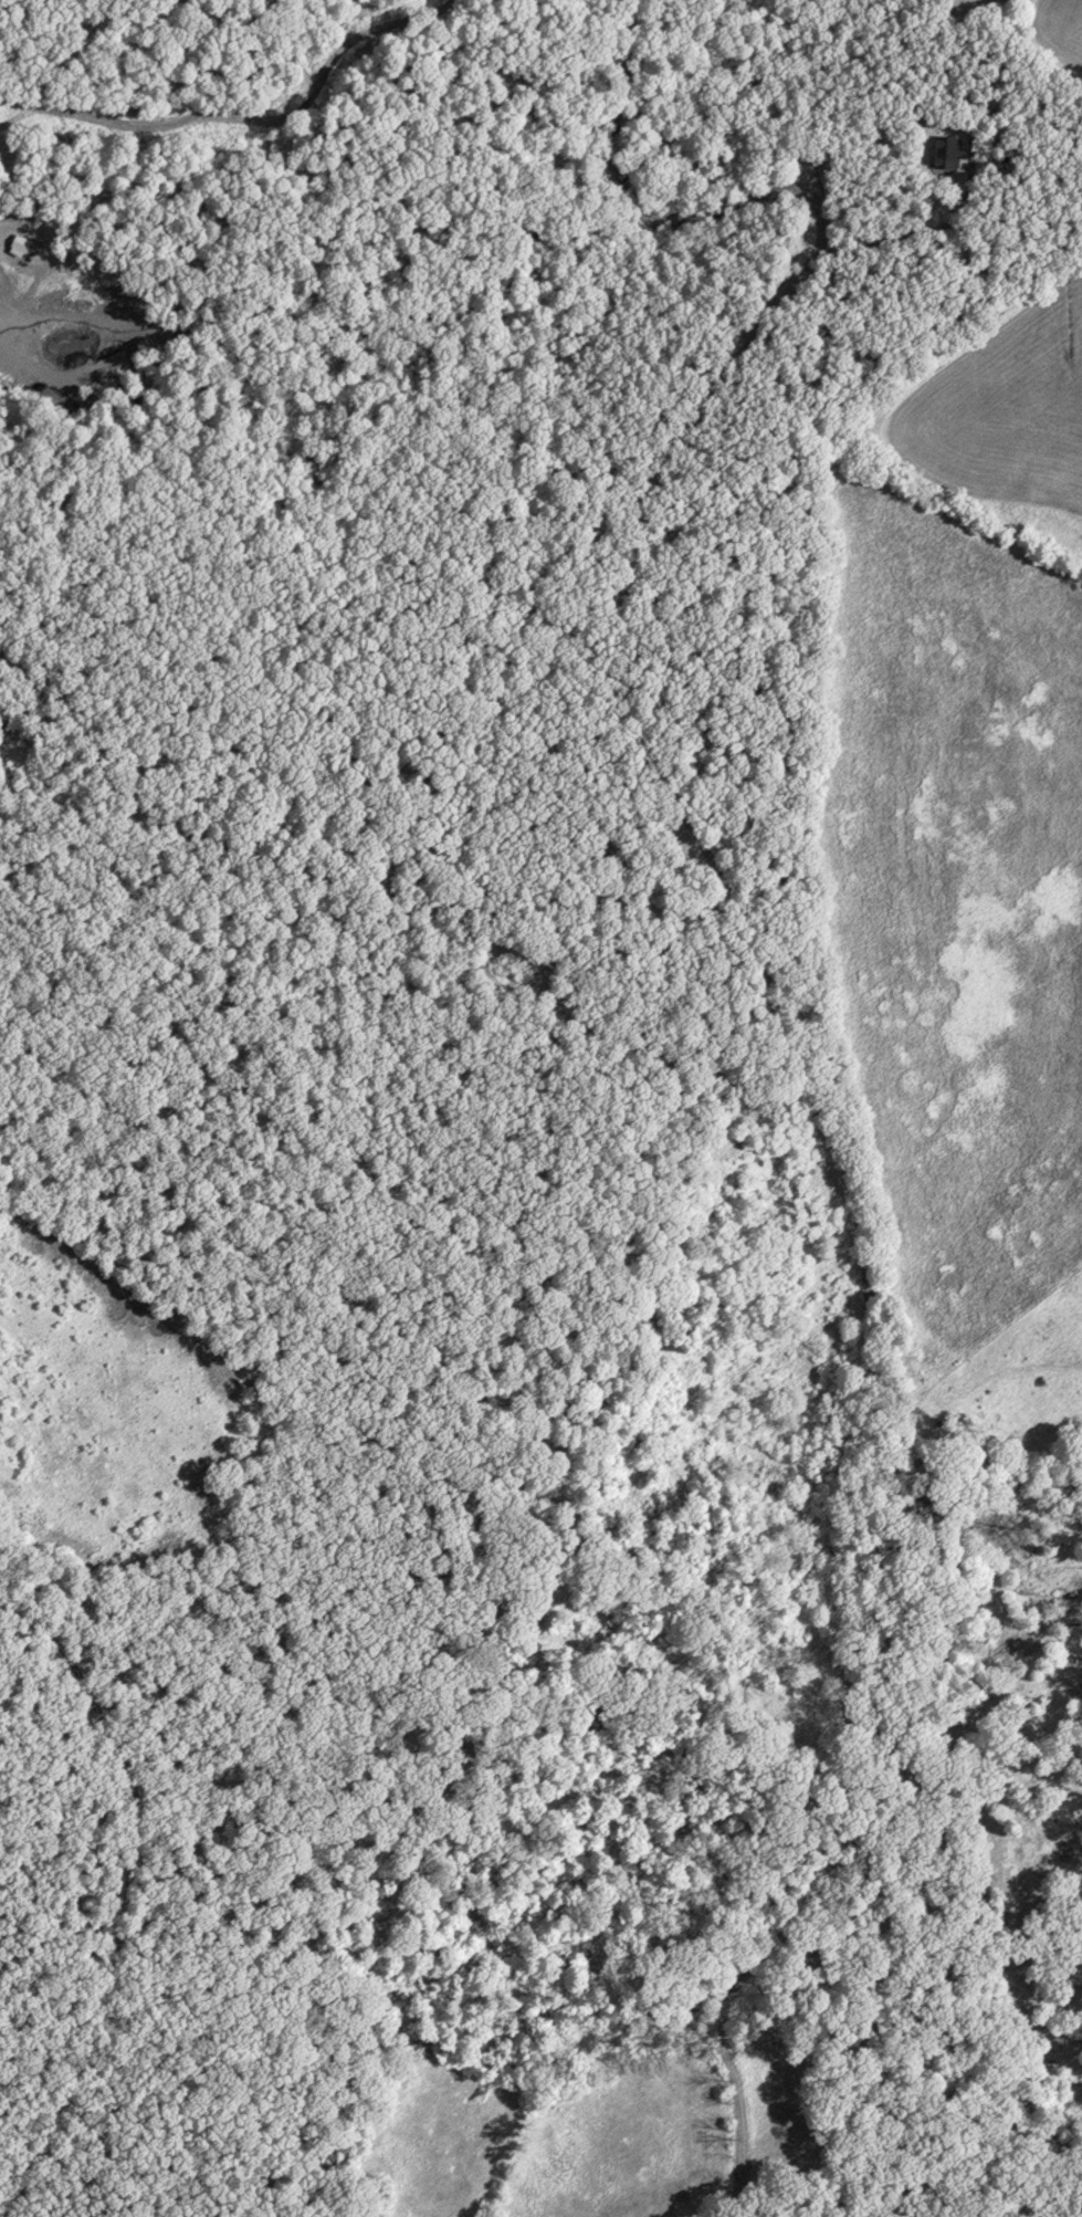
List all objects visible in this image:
building: (25, 244)

